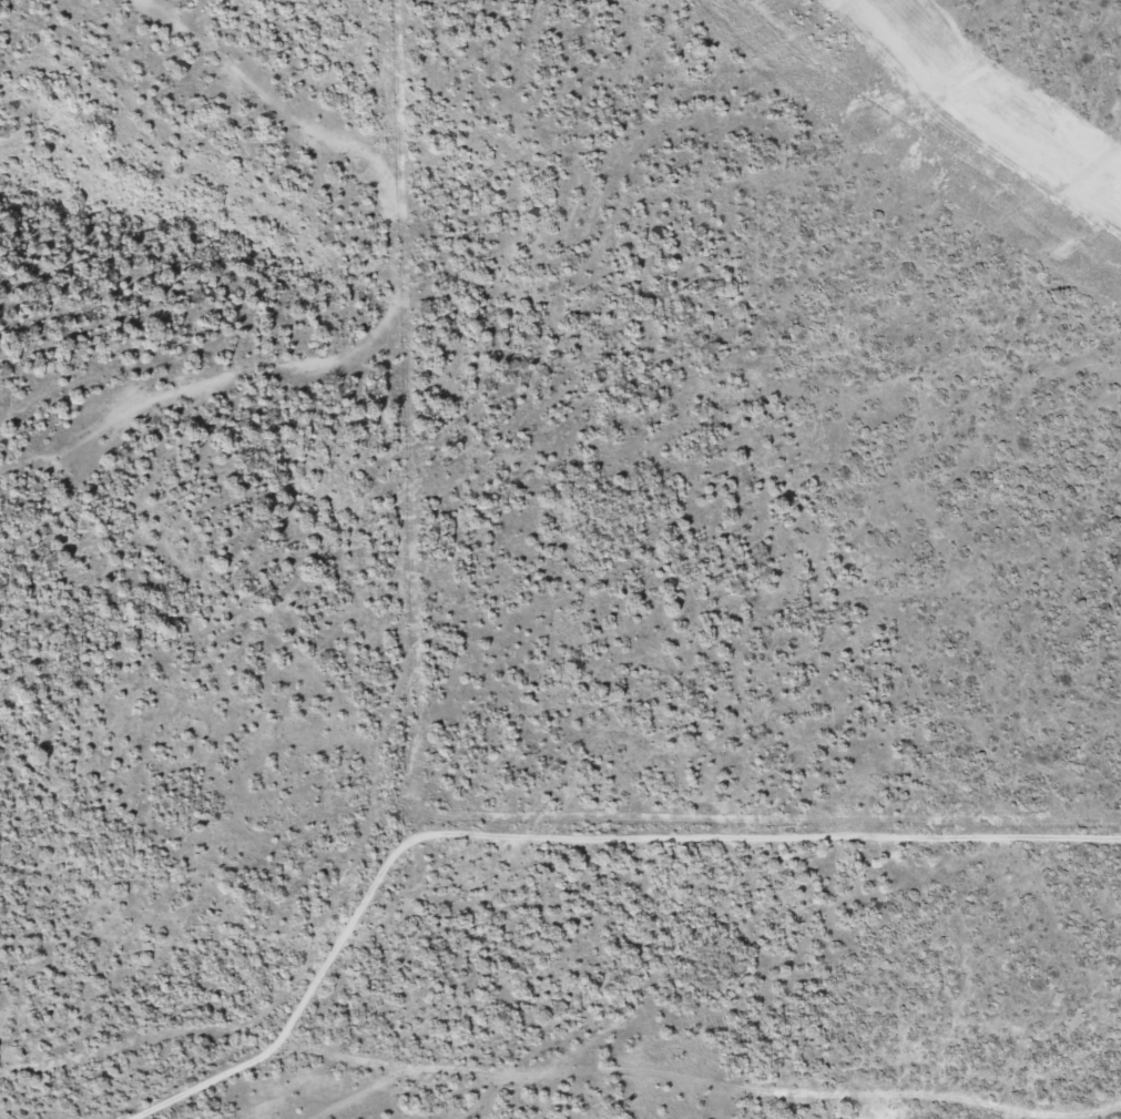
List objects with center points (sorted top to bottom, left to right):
road: (556, 1070)

